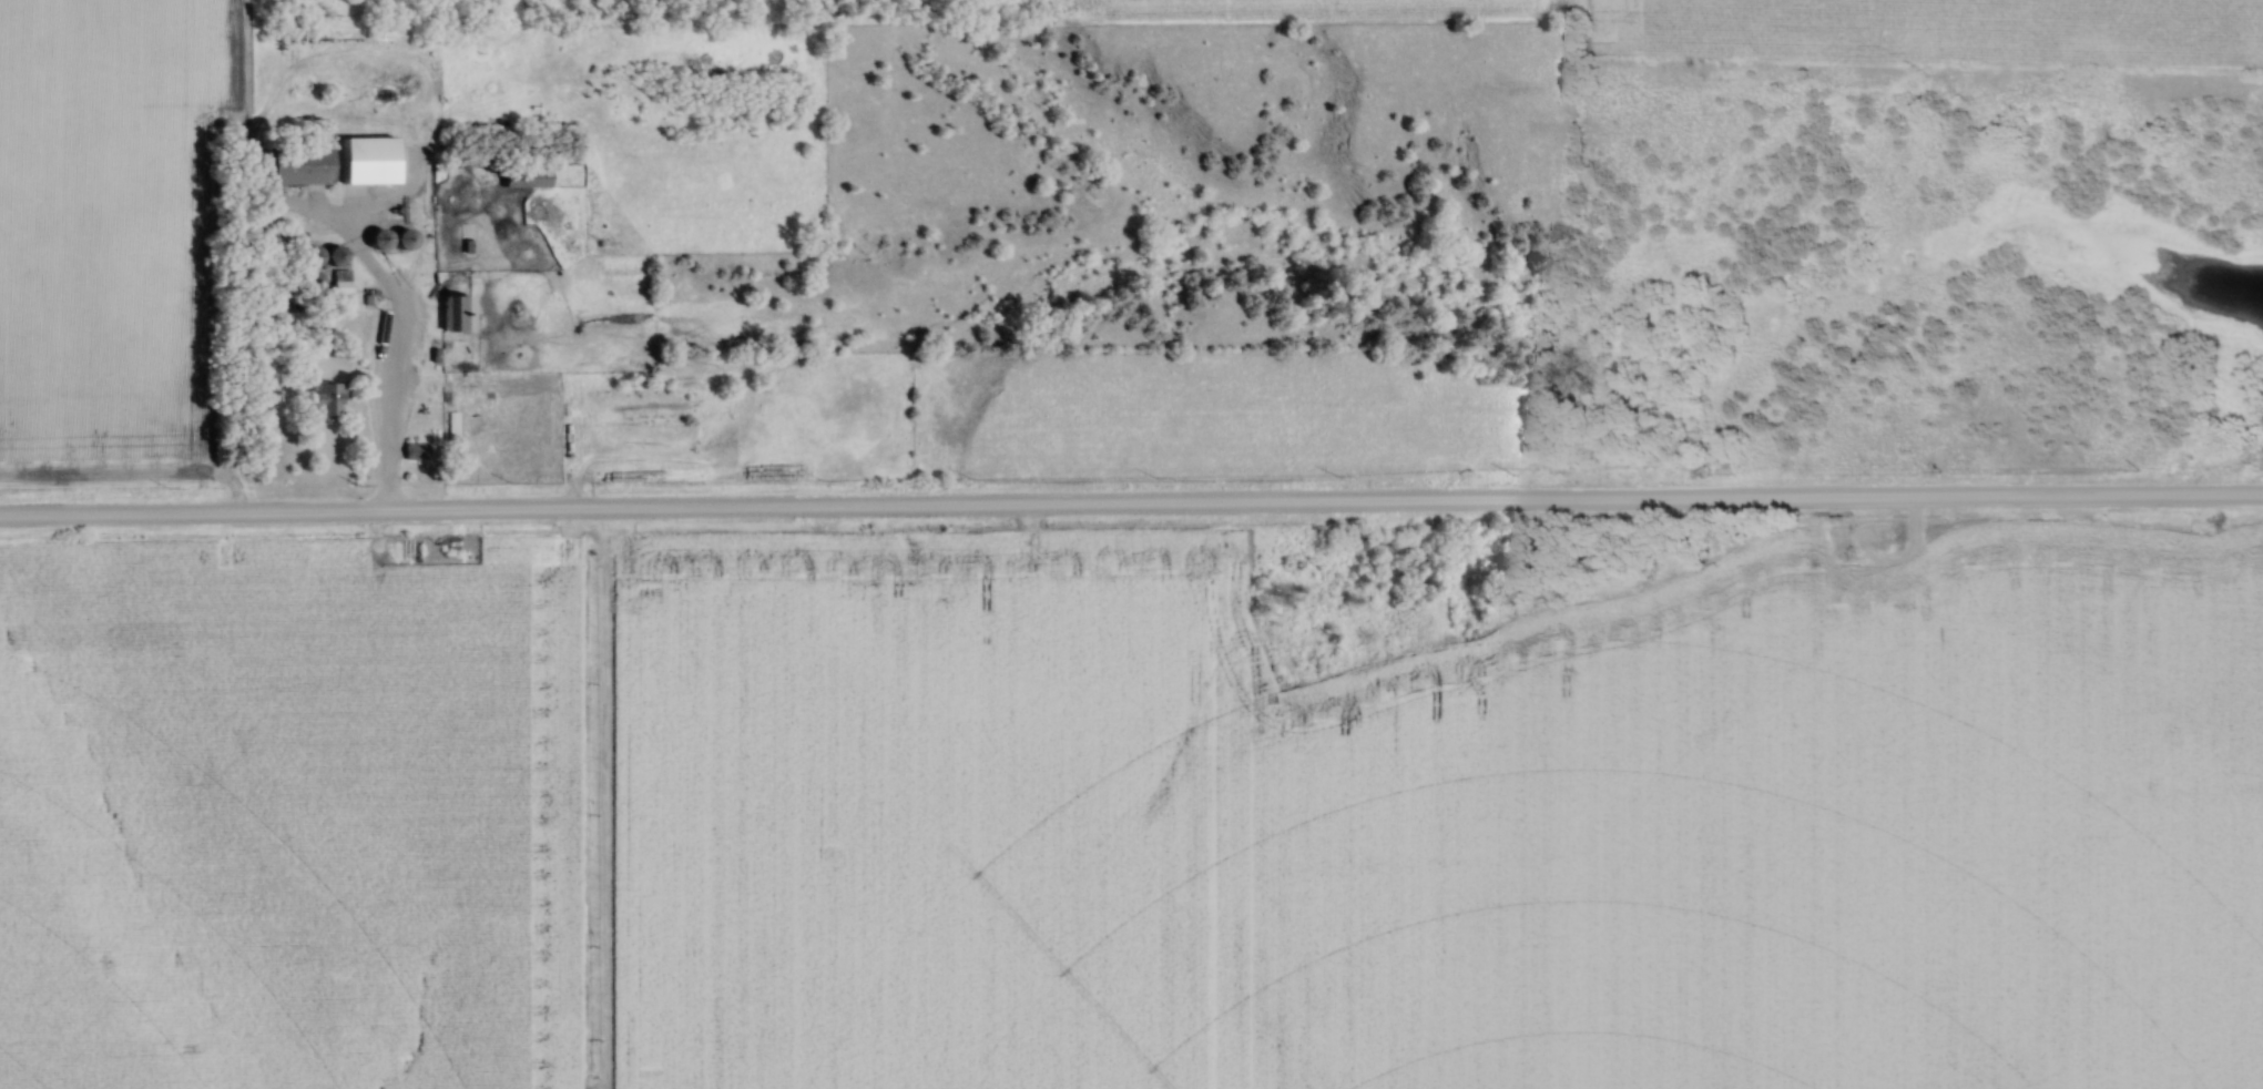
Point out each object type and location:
building: (303, 167)
building: (528, 177)
building: (370, 199)
building: (399, 238)
building: (339, 255)
building: (343, 282)
building: (460, 312)
building: (327, 401)
building: (451, 427)
building: (416, 450)
road: (1131, 507)

